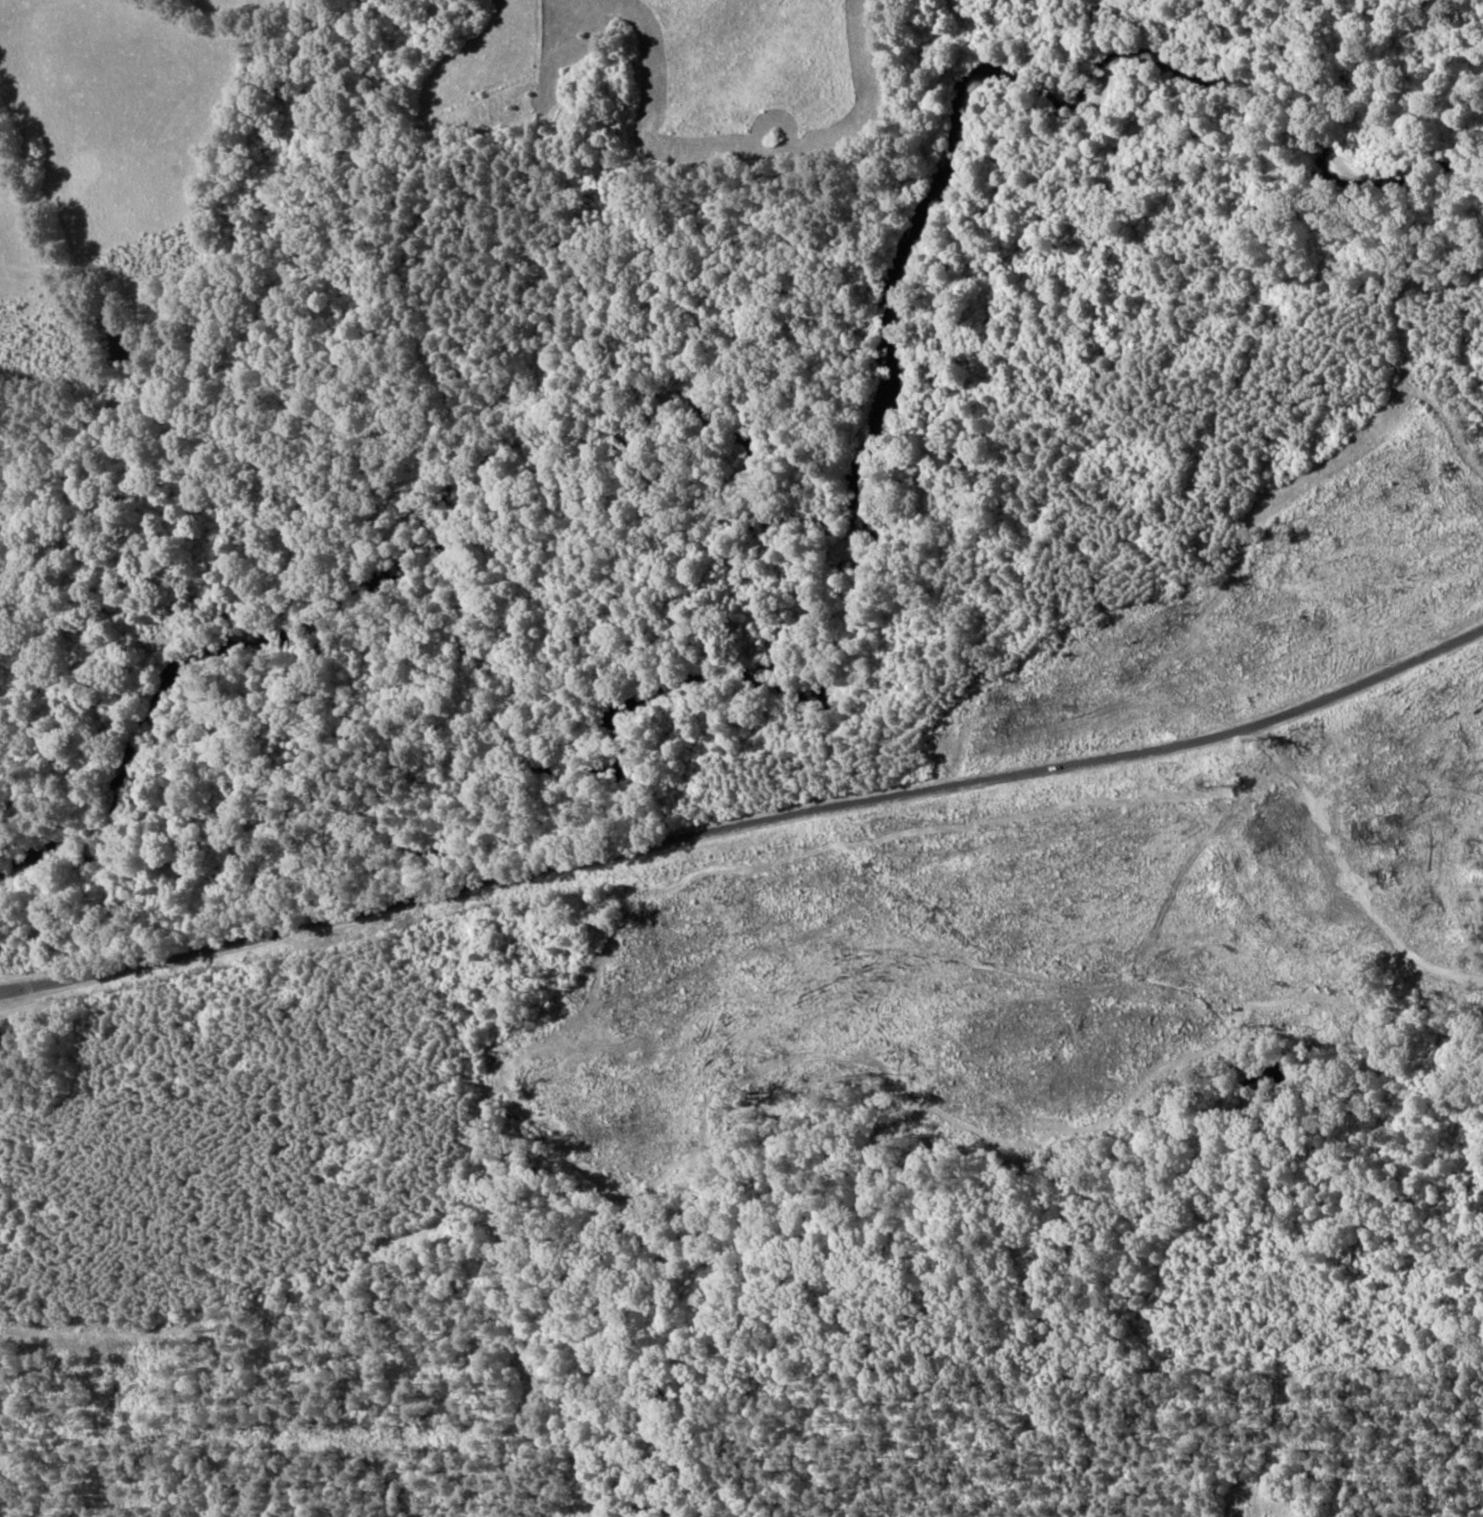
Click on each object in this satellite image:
road: (747, 869)

